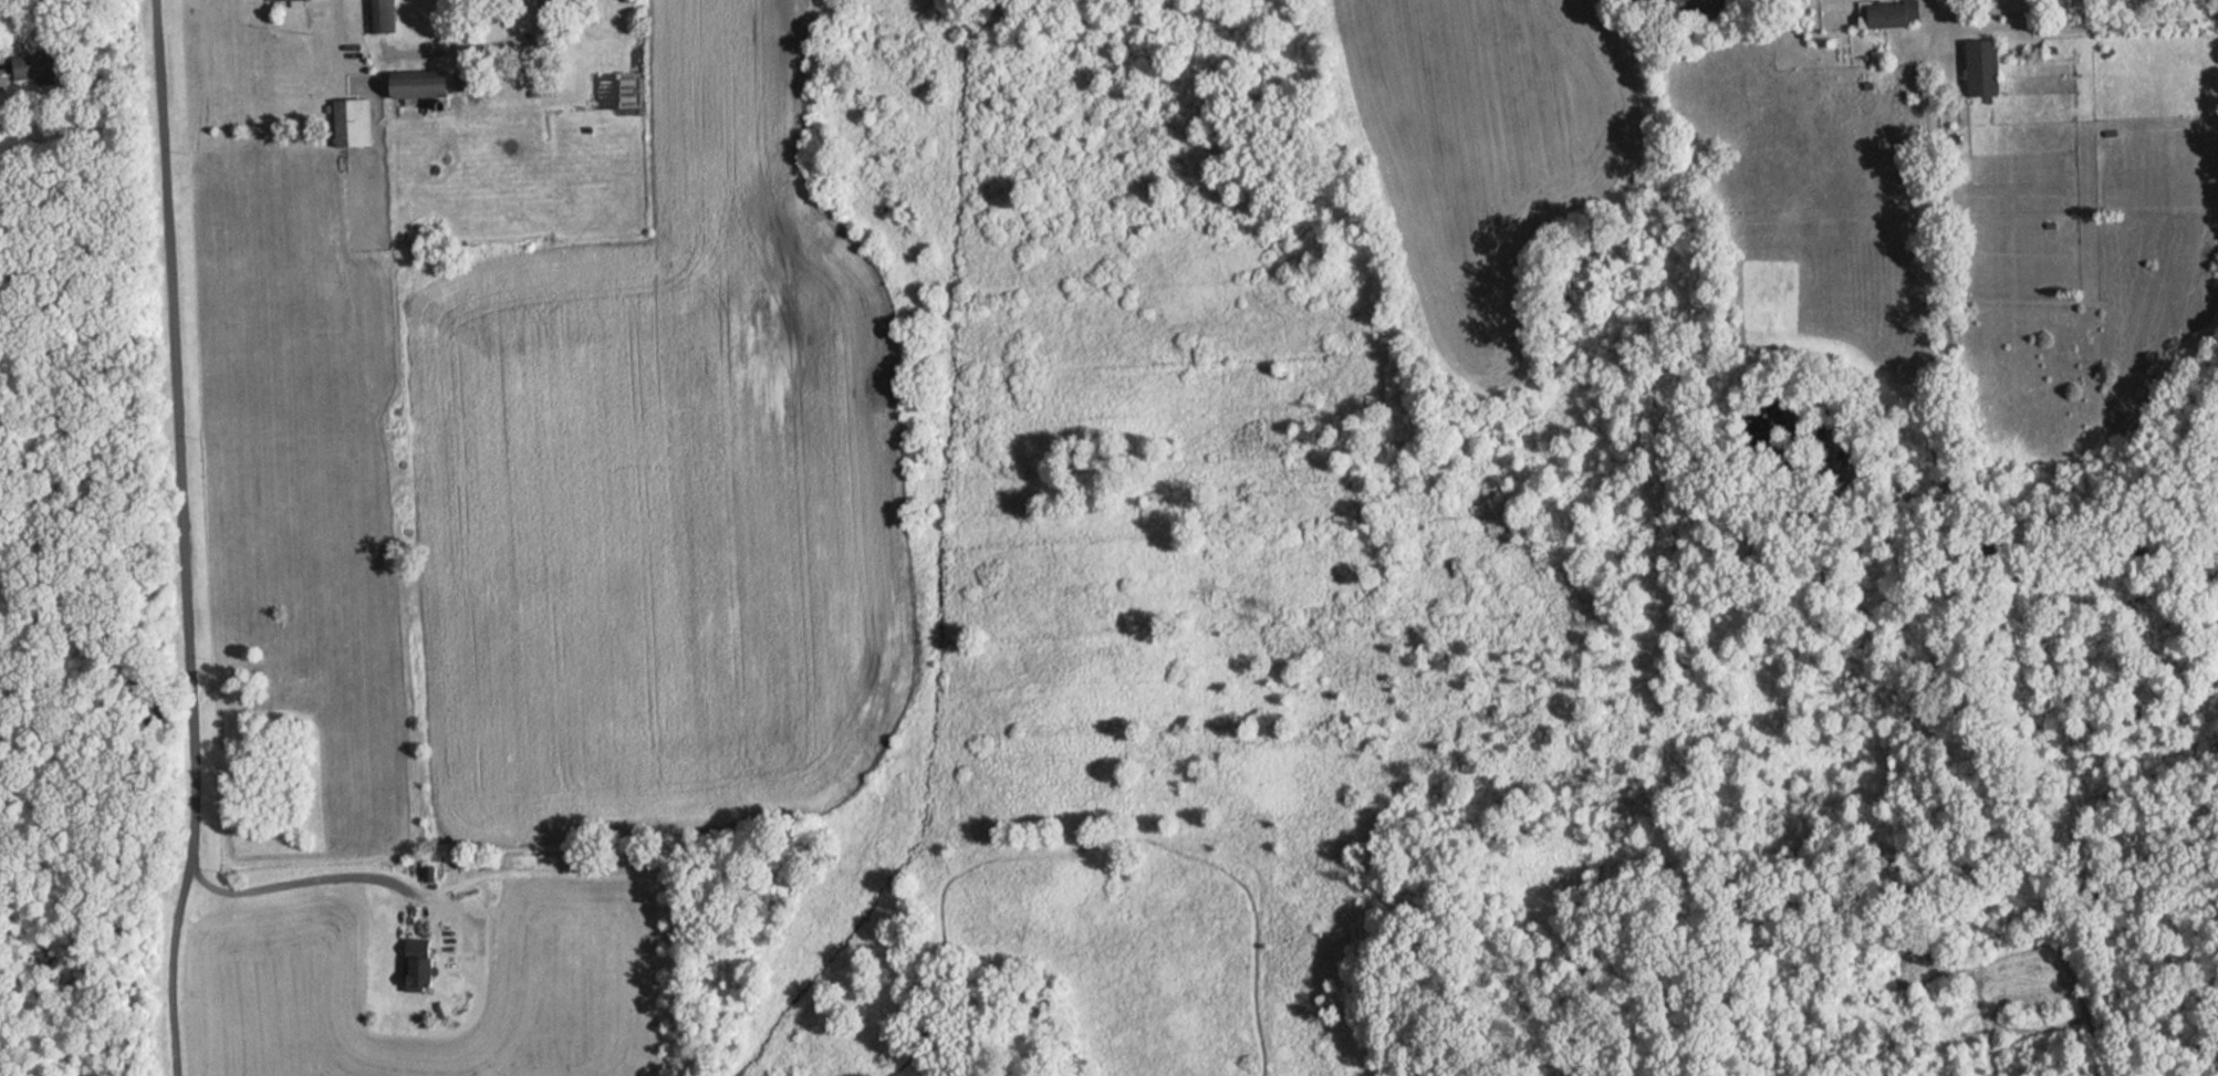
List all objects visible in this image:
building: (1894, 13)
building: (379, 15)
road: (1931, 15)
road: (521, 17)
road: (341, 35)
building: (34, 63)
building: (1986, 66)
building: (426, 83)
building: (355, 123)
road: (174, 431)
road: (311, 878)
building: (420, 963)
road: (171, 968)

